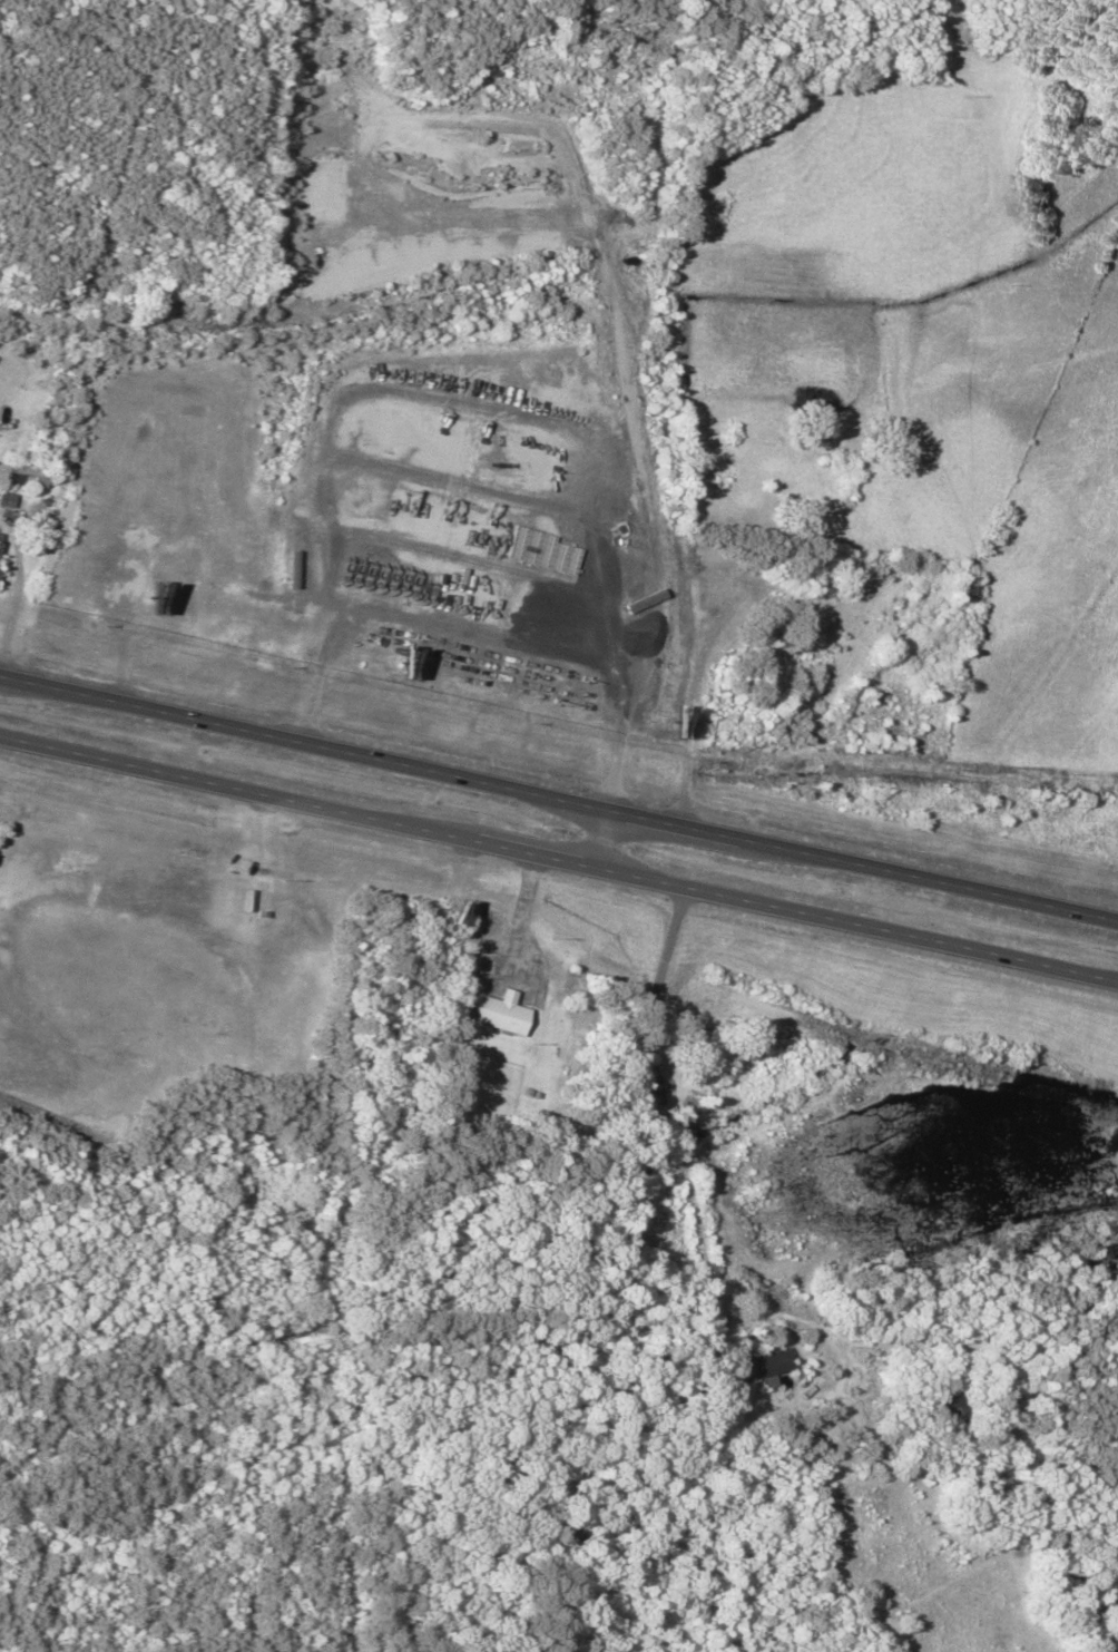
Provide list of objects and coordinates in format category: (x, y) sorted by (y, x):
building: (35, 475)
building: (18, 499)
building: (4, 548)
building: (961, 592)
road: (559, 800)
road: (602, 840)
road: (559, 860)
road: (667, 949)
building: (501, 1014)
building: (700, 1025)
building: (640, 1046)
building: (656, 1091)
building: (764, 1363)
building: (945, 1405)

